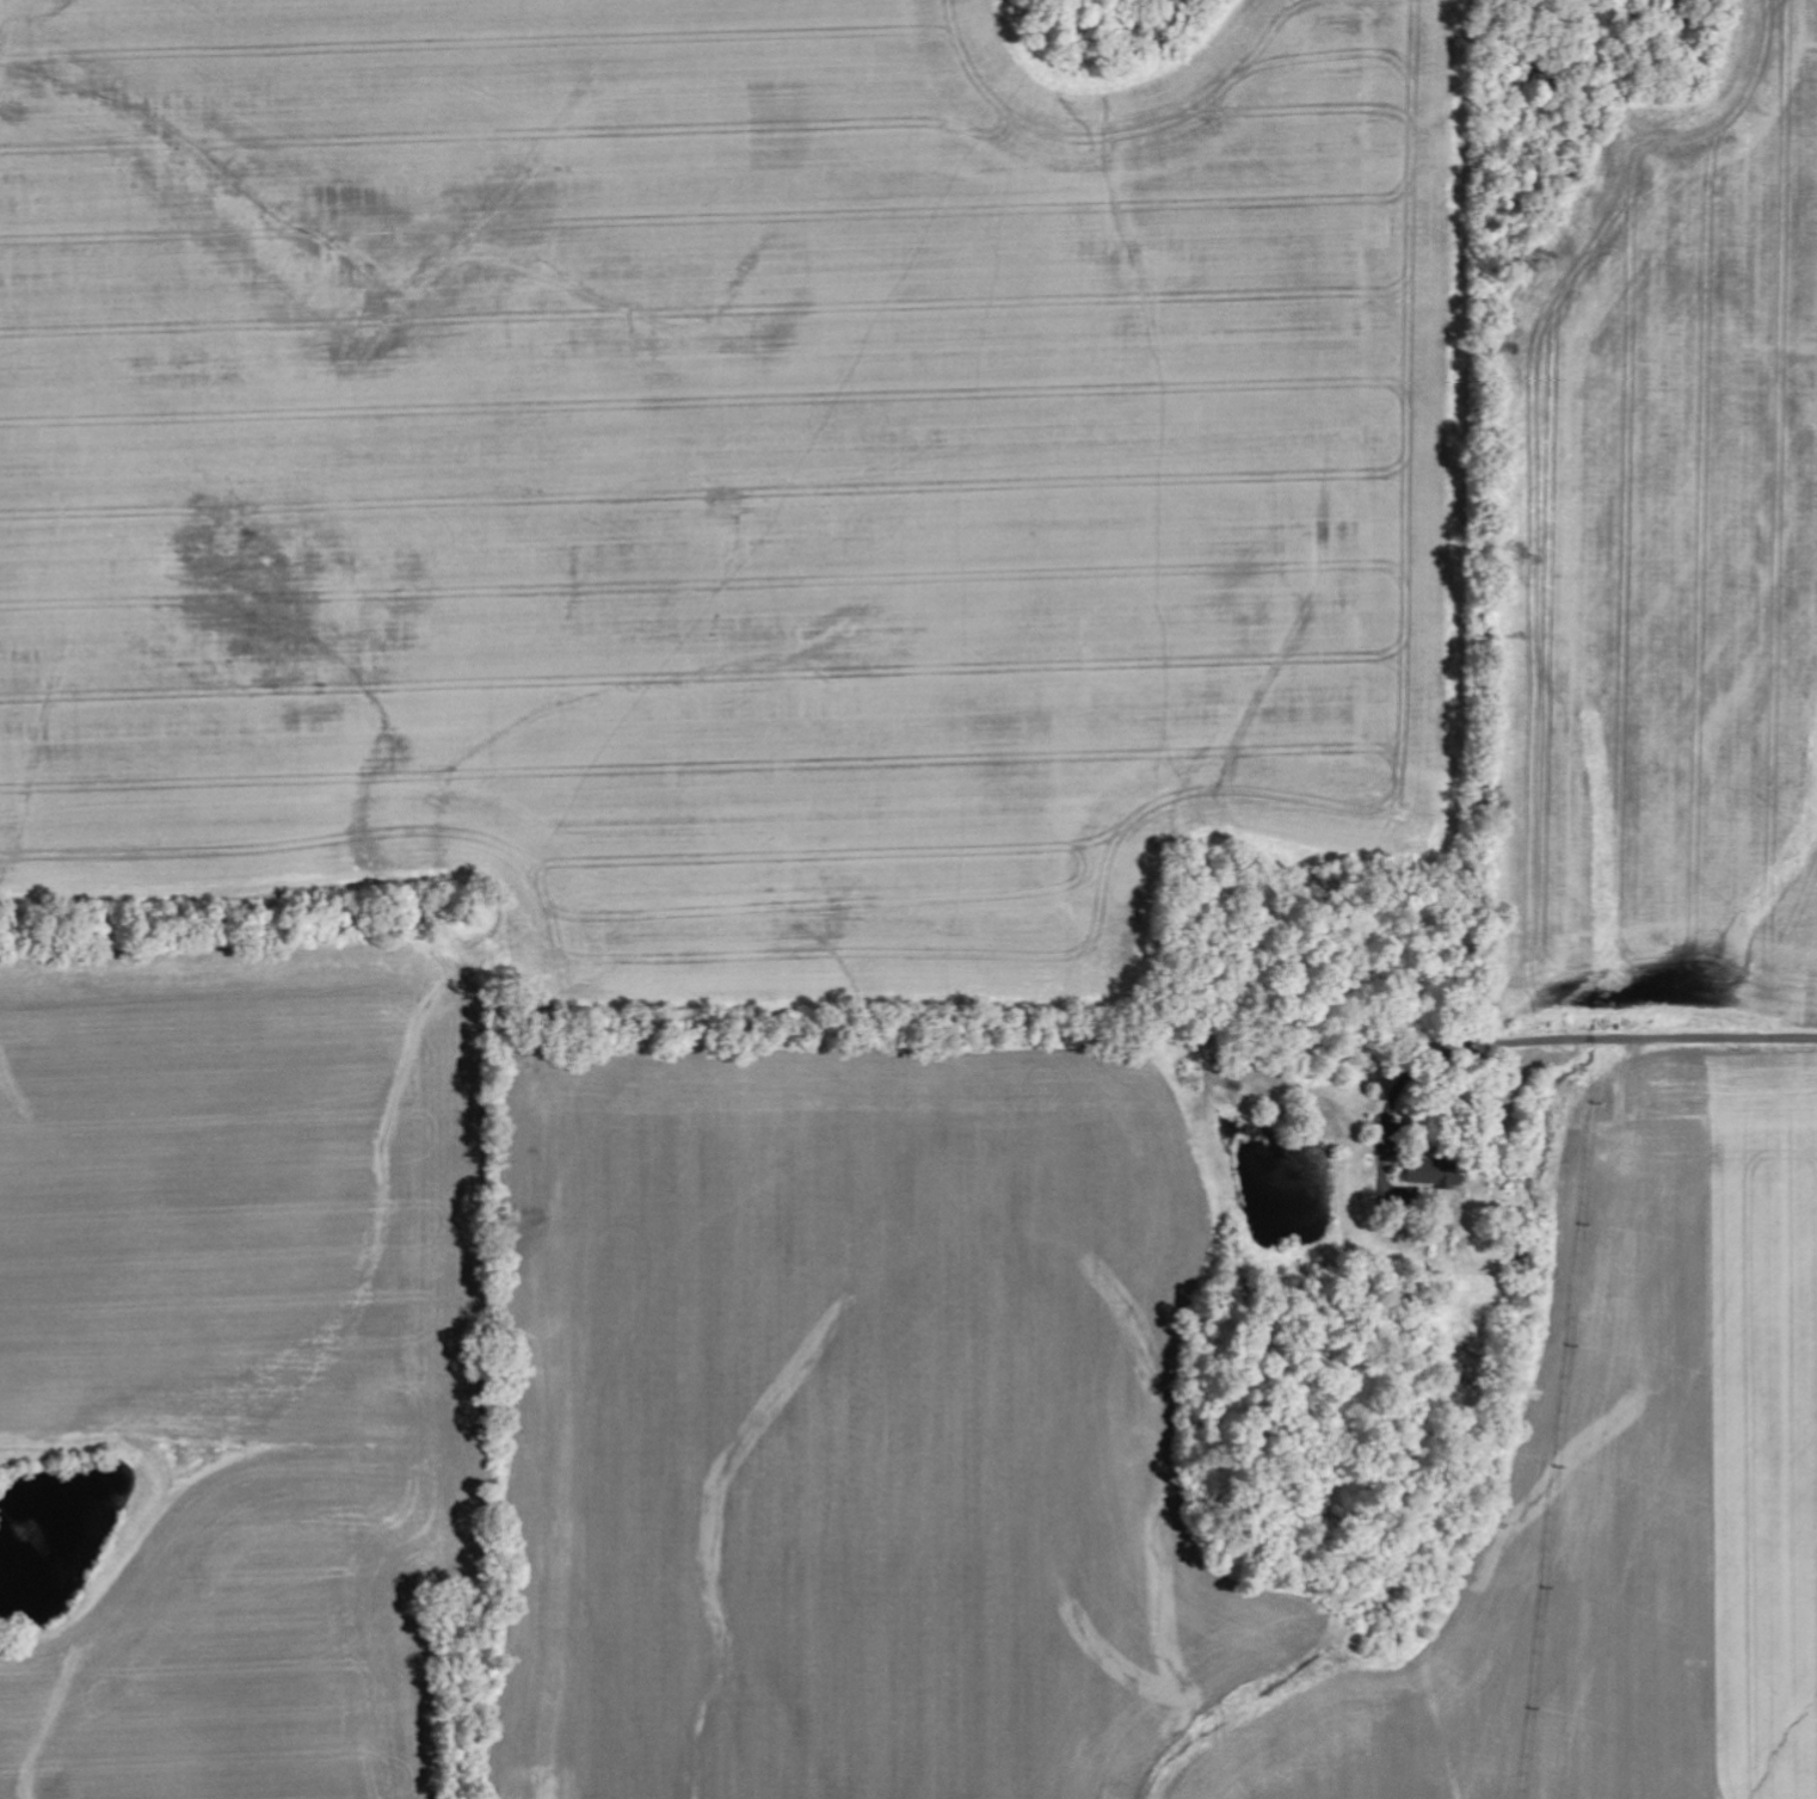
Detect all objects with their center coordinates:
road: (1632, 1037)
building: (1436, 1175)

